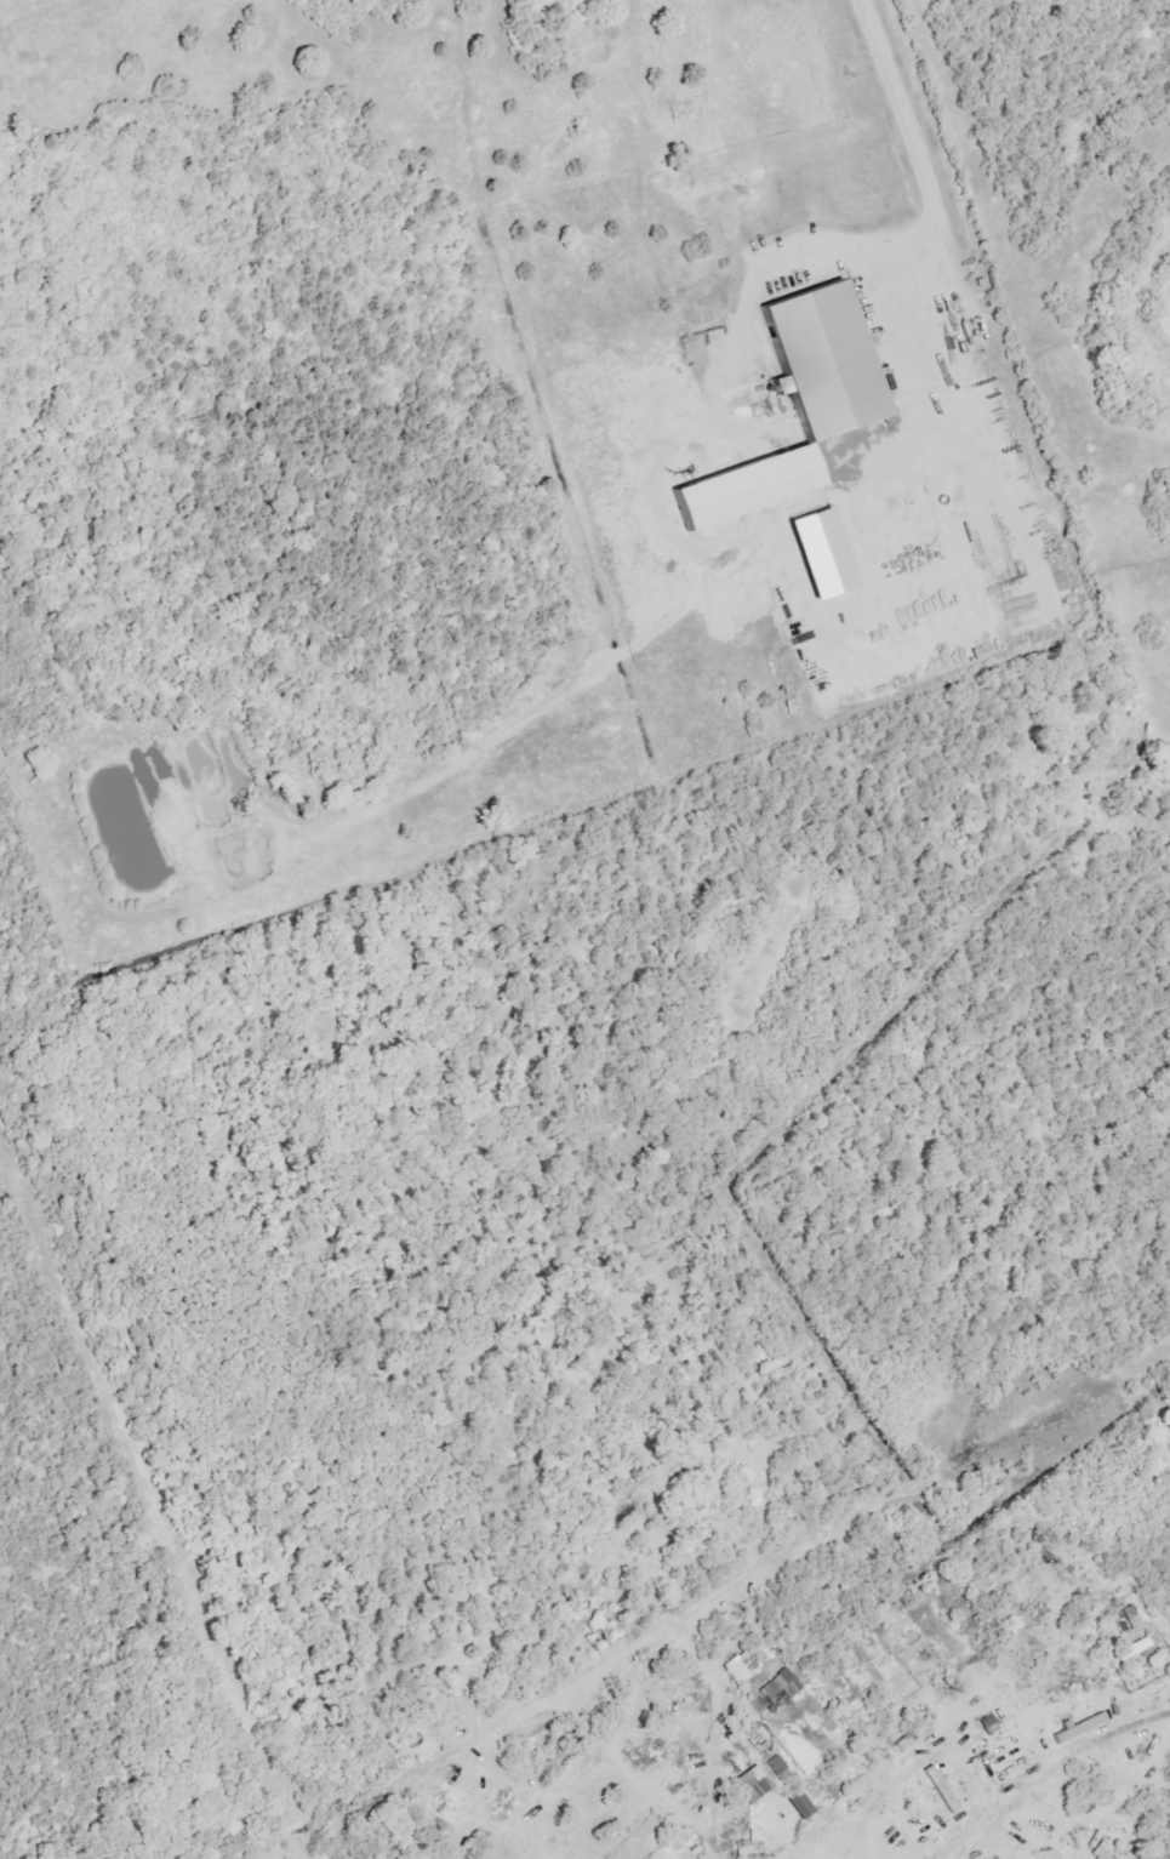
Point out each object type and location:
road: (929, 195)
building: (806, 403)
building: (829, 554)
building: (743, 1667)
building: (782, 1689)
building: (1085, 1726)
building: (917, 1733)
road: (1113, 1734)
building: (780, 1767)
building: (757, 1784)
building: (944, 1789)
building: (804, 1804)
road: (954, 1836)
building: (746, 1847)

